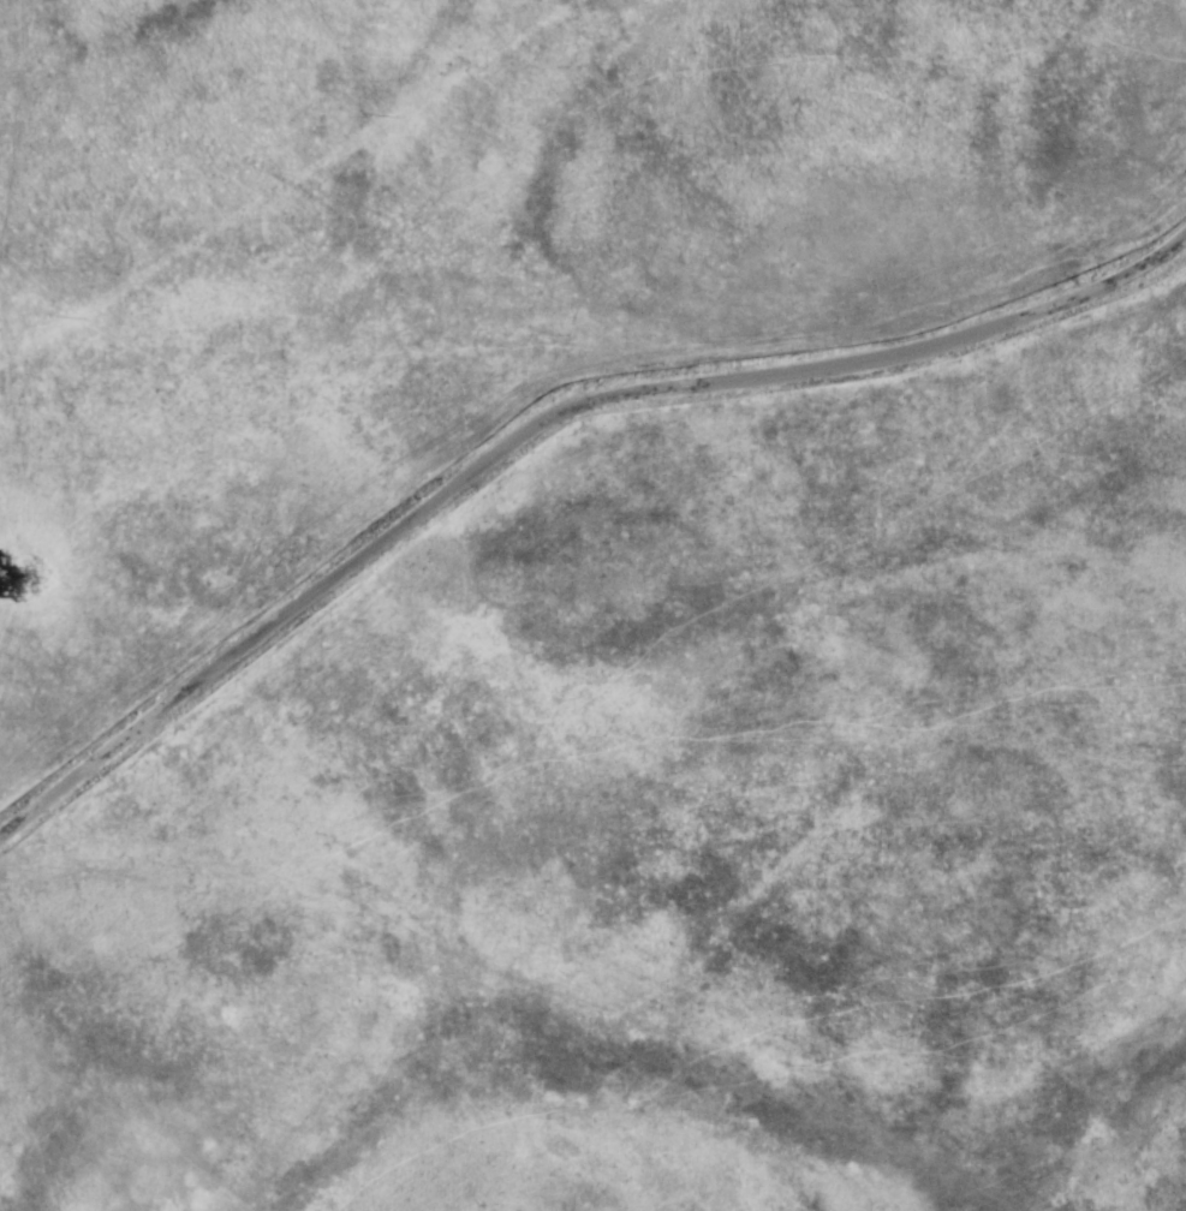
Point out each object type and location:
road: (537, 412)

